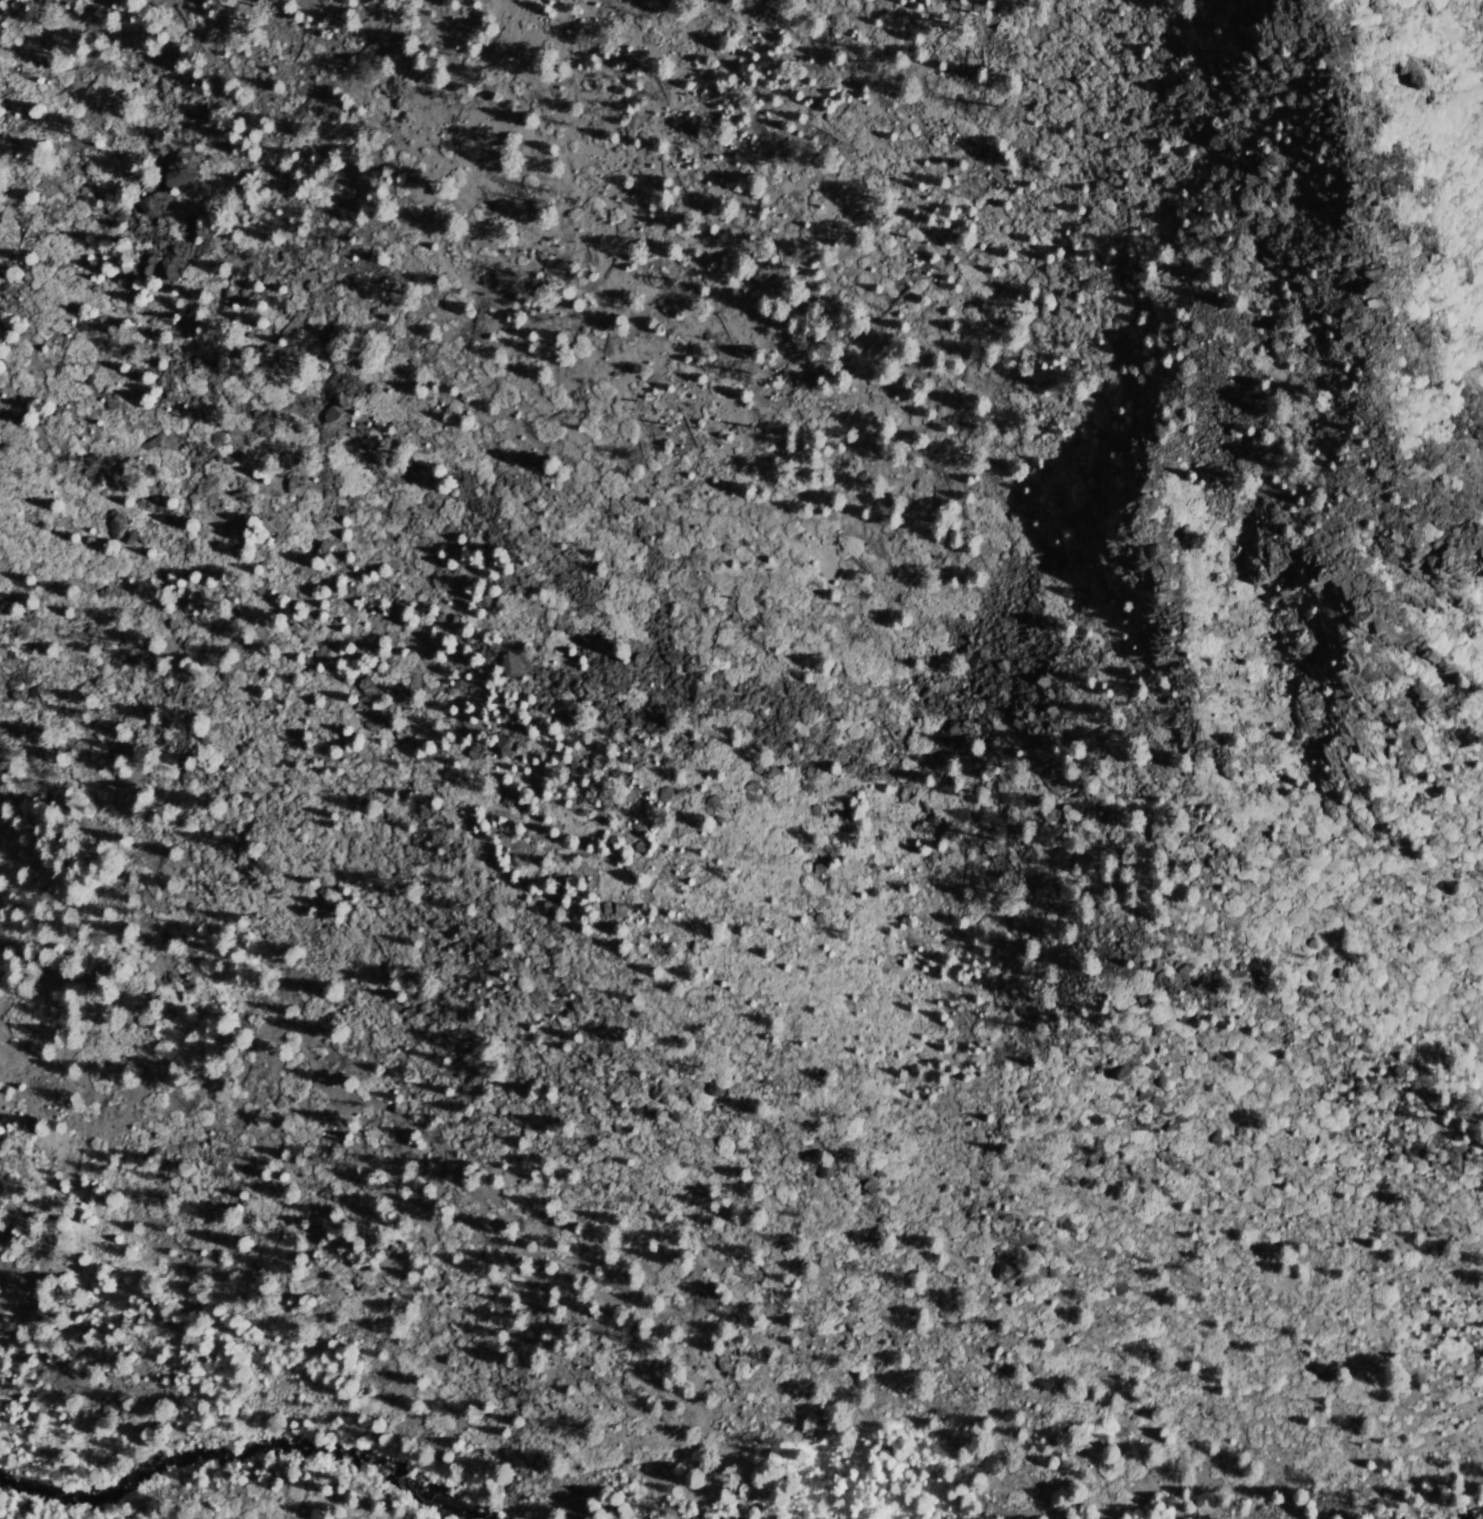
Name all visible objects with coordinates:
river: (243, 1441)

